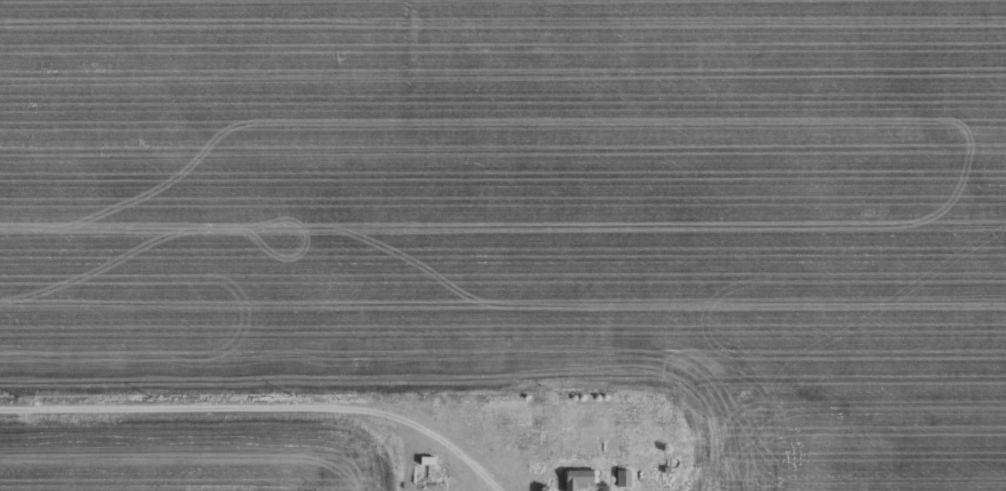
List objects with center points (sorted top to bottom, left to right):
road: (272, 406)

